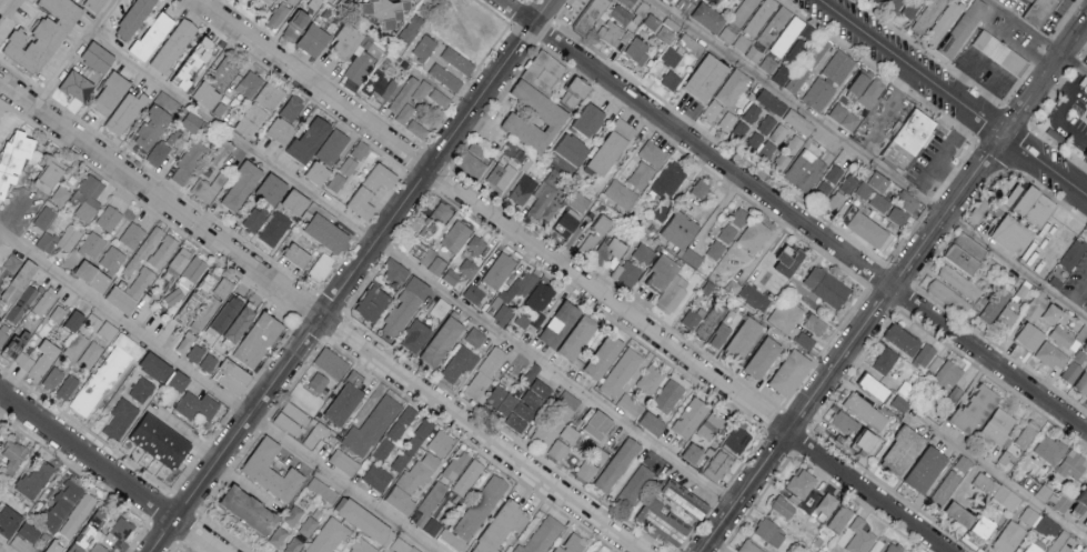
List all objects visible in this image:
building: (671, 0)
building: (1026, 0)
building: (270, 1)
building: (292, 2)
building: (628, 2)
building: (97, 4)
building: (900, 7)
building: (388, 11)
building: (1039, 11)
building: (280, 13)
building: (621, 14)
building: (135, 17)
building: (709, 17)
building: (759, 17)
building: (926, 17)
building: (303, 19)
building: (593, 19)
building: (942, 21)
building: (662, 27)
building: (738, 27)
building: (411, 29)
building: (959, 30)
building: (293, 32)
building: (768, 32)
building: (613, 33)
road: (993, 33)
building: (44, 34)
building: (154, 36)
building: (787, 36)
road: (1036, 36)
building: (315, 40)
building: (175, 44)
building: (692, 44)
building: (346, 48)
building: (425, 48)
road: (1011, 48)
building: (638, 49)
road: (1018, 49)
road: (73, 53)
building: (1000, 54)
building: (100, 57)
building: (672, 58)
building: (459, 60)
building: (363, 61)
building: (197, 62)
building: (769, 62)
building: (806, 69)
building: (225, 72)
building: (545, 76)
road: (966, 76)
building: (707, 77)
building: (445, 78)
building: (672, 80)
building: (828, 80)
building: (1083, 83)
building: (79, 86)
building: (383, 87)
building: (733, 87)
building: (245, 89)
building: (867, 89)
road: (985, 89)
building: (112, 93)
building: (209, 94)
building: (270, 96)
building: (440, 98)
building: (575, 98)
road: (952, 98)
building: (402, 100)
building: (168, 101)
building: (772, 102)
building: (293, 108)
building: (711, 110)
building: (127, 112)
road: (1056, 114)
building: (556, 117)
building: (845, 117)
building: (1085, 117)
road: (7, 118)
building: (592, 119)
road: (462, 120)
building: (251, 121)
building: (193, 122)
building: (726, 122)
building: (798, 122)
building: (752, 128)
building: (417, 129)
building: (150, 130)
building: (282, 130)
building: (779, 132)
building: (914, 134)
building: (174, 138)
road: (230, 138)
building: (311, 139)
building: (333, 147)
building: (613, 148)
building: (573, 150)
building: (766, 150)
road: (942, 152)
building: (159, 153)
building: (896, 157)
building: (14, 159)
building: (473, 160)
road: (867, 160)
building: (189, 162)
building: (349, 165)
building: (646, 165)
building: (804, 170)
building: (320, 173)
building: (834, 173)
road: (949, 174)
building: (50, 175)
building: (500, 175)
building: (382, 177)
building: (668, 180)
road: (1081, 181)
building: (848, 183)
building: (243, 185)
building: (208, 188)
building: (273, 188)
building: (702, 189)
building: (823, 189)
building: (875, 191)
building: (521, 193)
building: (621, 194)
building: (60, 195)
building: (548, 197)
building: (89, 198)
building: (835, 200)
building: (298, 201)
building: (364, 202)
building: (580, 202)
building: (1028, 204)
building: (976, 211)
road: (793, 214)
building: (897, 217)
building: (44, 218)
building: (109, 218)
building: (254, 219)
building: (434, 221)
building: (568, 224)
building: (276, 229)
building: (869, 229)
building: (682, 230)
building: (330, 233)
building: (728, 233)
building: (132, 234)
building: (595, 234)
building: (1009, 235)
building: (455, 237)
building: (755, 237)
building: (59, 241)
building: (93, 245)
building: (476, 245)
building: (617, 247)
building: (163, 251)
building: (959, 252)
building: (644, 253)
building: (1070, 253)
building: (299, 254)
building: (692, 255)
building: (112, 259)
building: (791, 261)
building: (435, 262)
building: (12, 263)
building: (189, 265)
building: (322, 267)
building: (469, 268)
building: (500, 270)
building: (395, 271)
building: (627, 273)
building: (95, 275)
road: (573, 275)
building: (451, 277)
building: (957, 281)
building: (141, 282)
building: (461, 282)
building: (668, 283)
building: (209, 285)
road: (893, 285)
building: (827, 287)
building: (224, 289)
building: (21, 292)
building: (474, 293)
road: (1077, 293)
building: (944, 294)
building: (541, 295)
building: (754, 297)
building: (510, 298)
building: (123, 300)
building: (42, 303)
building: (374, 303)
building: (1036, 303)
building: (406, 307)
building: (441, 308)
building: (1086, 310)
building: (998, 311)
building: (58, 313)
road: (320, 315)
building: (692, 318)
building: (76, 320)
building: (91, 321)
building: (526, 322)
building: (815, 325)
building: (238, 330)
building: (570, 330)
building: (108, 331)
building: (3, 333)
building: (212, 334)
building: (1058, 334)
building: (722, 335)
building: (1024, 335)
building: (416, 337)
building: (475, 338)
building: (895, 338)
building: (745, 339)
building: (1079, 339)
building: (805, 341)
building: (443, 342)
building: (187, 343)
building: (256, 343)
building: (13, 353)
building: (90, 354)
building: (1048, 354)
building: (604, 357)
building: (194, 358)
building: (765, 358)
building: (926, 358)
building: (882, 360)
building: (460, 363)
building: (208, 367)
building: (332, 367)
building: (153, 370)
building: (1068, 371)
building: (623, 372)
building: (107, 373)
building: (485, 373)
road: (553, 373)
building: (793, 373)
building: (945, 373)
building: (52, 378)
building: (356, 378)
building: (651, 379)
building: (1080, 382)
building: (233, 383)
building: (177, 385)
building: (68, 387)
building: (319, 387)
building: (869, 387)
building: (141, 392)
building: (953, 393)
road: (218, 394)
road: (261, 395)
building: (670, 395)
building: (1086, 398)
building: (308, 400)
building: (897, 402)
building: (630, 404)
building: (344, 407)
building: (970, 408)
building: (197, 409)
building: (860, 410)
building: (410, 416)
building: (692, 416)
building: (292, 419)
building: (121, 420)
building: (556, 420)
building: (654, 423)
building: (995, 424)
building: (600, 425)
building: (711, 425)
building: (374, 428)
building: (848, 429)
building: (427, 430)
building: (0, 433)
building: (399, 433)
building: (1024, 433)
building: (736, 440)
building: (162, 441)
building: (564, 443)
building: (444, 444)
building: (416, 445)
building: (1046, 448)
building: (385, 450)
building: (897, 451)
building: (693, 453)
building: (12, 458)
building: (346, 463)
building: (403, 463)
building: (433, 463)
building: (719, 463)
building: (1069, 463)
building: (455, 464)
building: (618, 464)
building: (919, 469)
building: (273, 471)
building: (586, 471)
road: (109, 473)
building: (376, 478)
building: (38, 479)
building: (417, 479)
building: (472, 479)
building: (949, 480)
road: (1003, 480)
building: (794, 483)
building: (995, 490)
building: (325, 491)
building: (633, 491)
building: (1045, 493)
building: (435, 500)
building: (1073, 500)
building: (691, 501)
building: (64, 504)
building: (779, 506)
building: (823, 506)
building: (484, 509)
building: (252, 510)
building: (296, 511)
building: (953, 513)
building: (79, 514)
building: (1028, 515)
building: (837, 518)
building: (364, 520)
building: (10, 521)
building: (101, 521)
building: (424, 522)
building: (664, 522)
building: (980, 525)
building: (309, 526)
building: (505, 528)
building: (1045, 528)
building: (435, 529)
building: (767, 532)
building: (120, 533)
building: (854, 535)
building: (279, 536)
building: (328, 536)
building: (546, 536)
building: (1007, 536)
building: (26, 538)
building: (454, 542)
building: (1061, 542)
building: (577, 544)
building: (293, 545)
building: (57, 546)
building: (362, 546)
building: (402, 546)
building: (746, 546)
building: (78, 548)
building: (99, 548)
building: (890, 548)
building: (1033, 548)
road: (1, 550)
building: (562, 550)
building: (593, 551)

